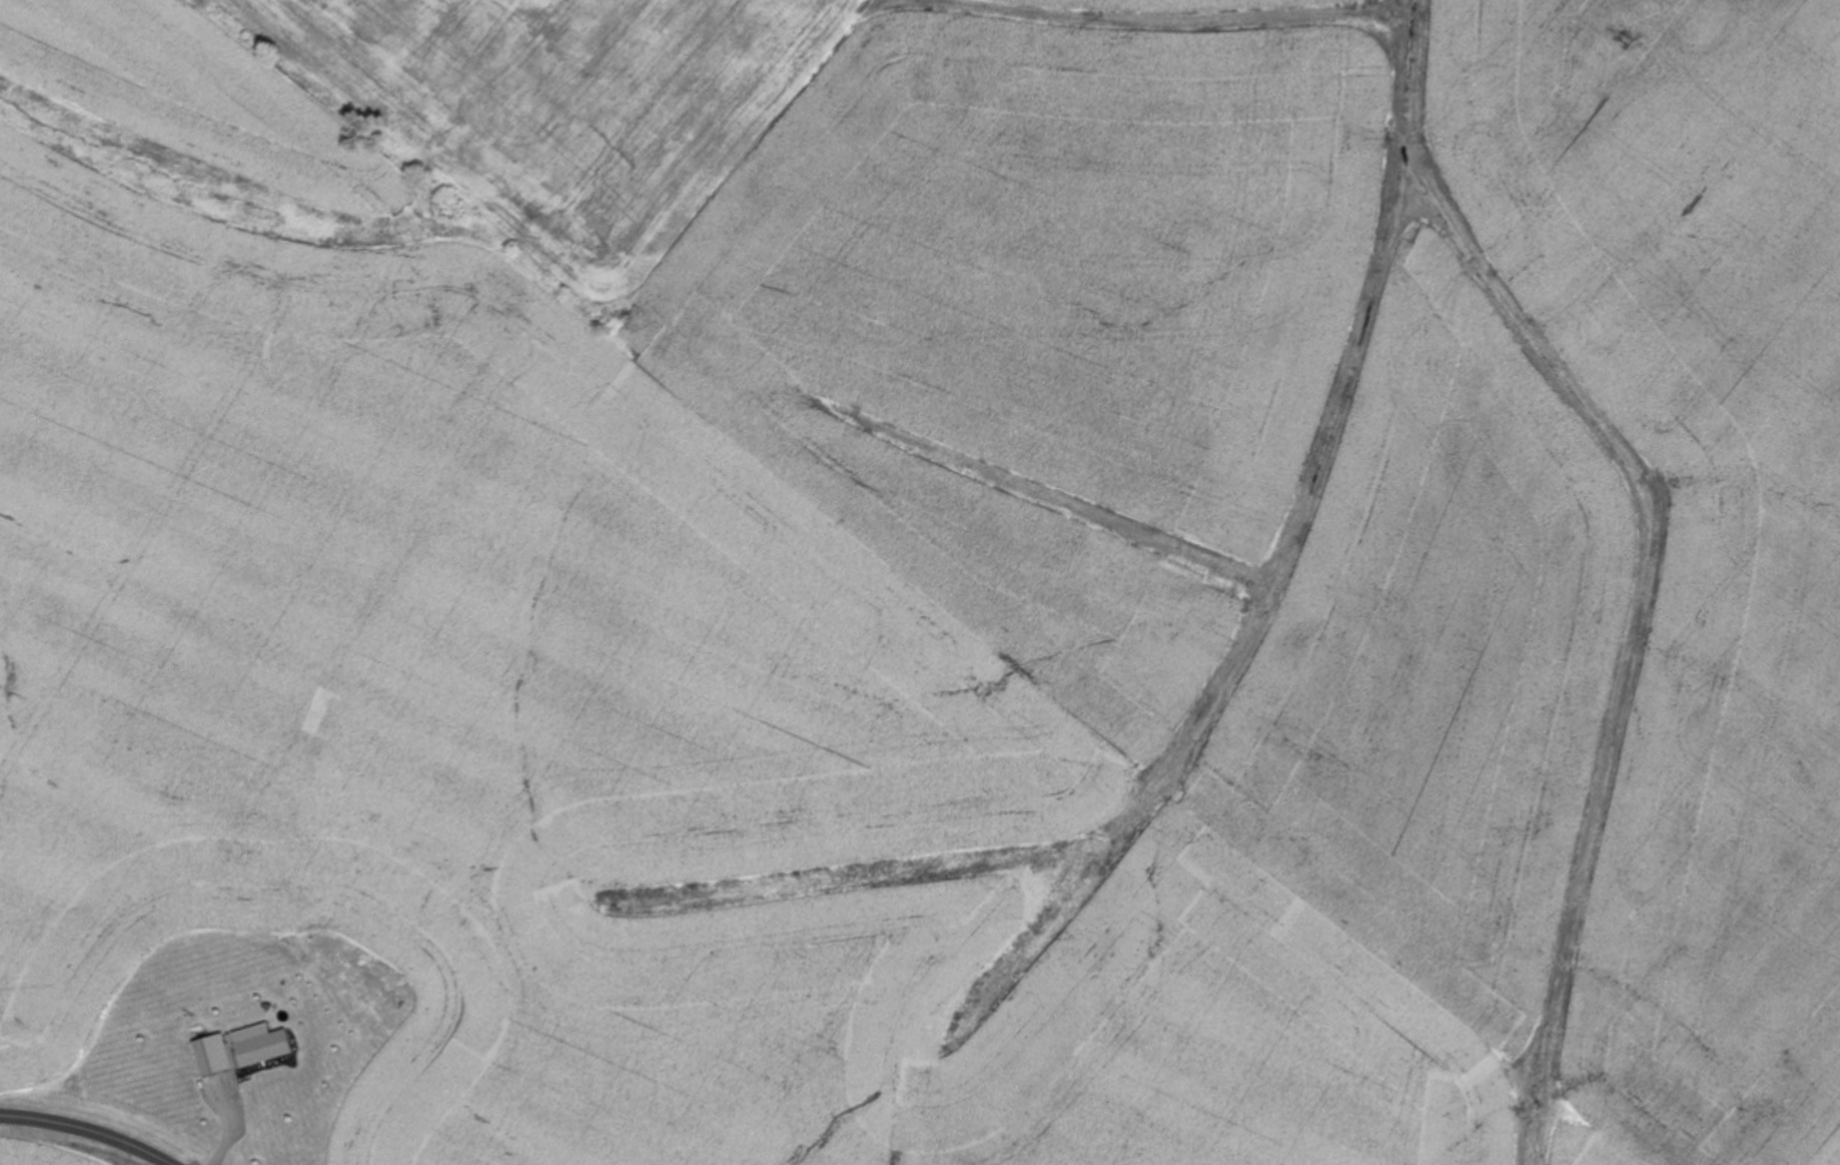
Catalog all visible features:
building: (242, 1051)
road: (86, 1130)

